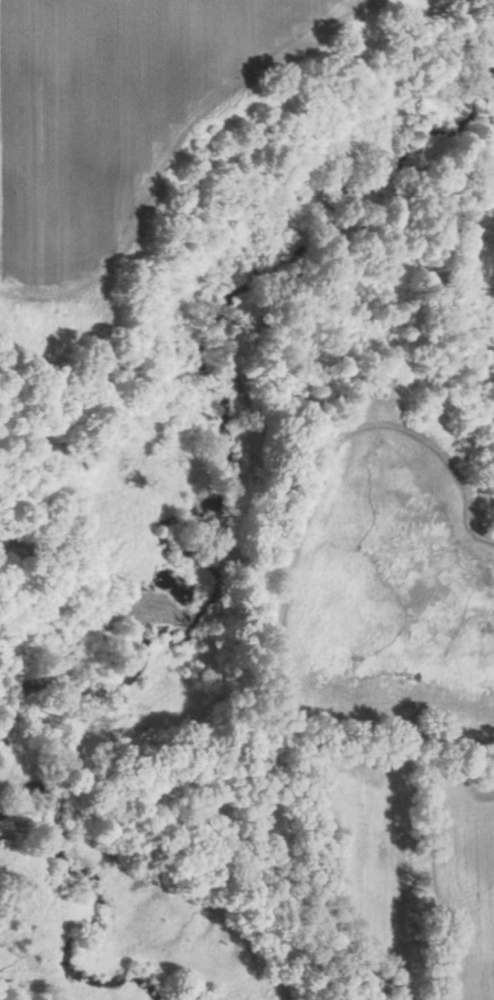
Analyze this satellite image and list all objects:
road: (322, 739)

